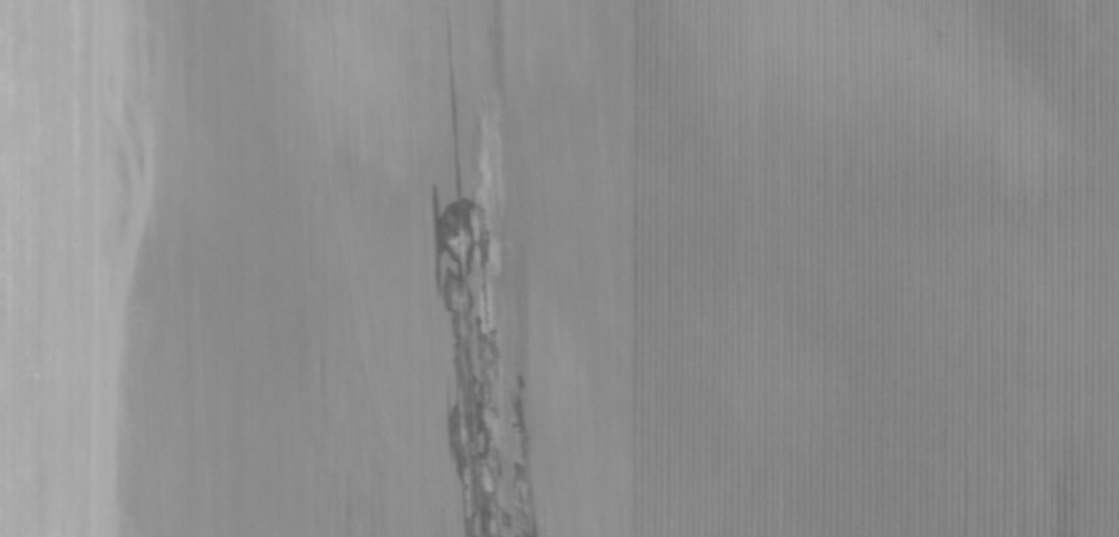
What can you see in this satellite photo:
road: (82, 268)
crop: (559, 268)

